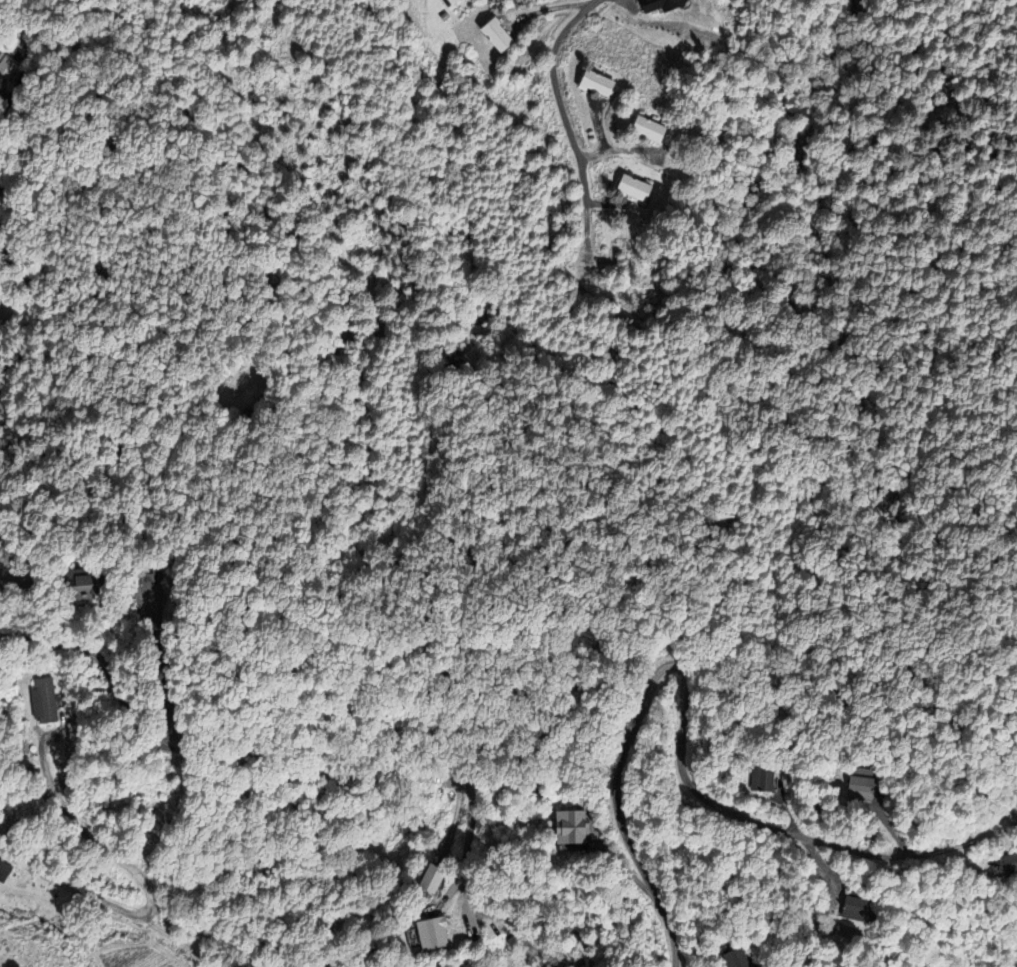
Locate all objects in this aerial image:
building: (448, 3)
building: (497, 35)
building: (592, 82)
road: (12, 98)
road: (559, 99)
building: (641, 128)
building: (630, 188)
road: (585, 235)
road: (30, 308)
building: (140, 574)
building: (71, 585)
road: (688, 687)
building: (40, 701)
road: (143, 732)
building: (757, 779)
building: (852, 784)
building: (568, 828)
road: (82, 830)
road: (894, 830)
road: (977, 837)
road: (805, 845)
road: (467, 847)
road: (955, 861)
building: (1001, 865)
road: (623, 869)
building: (431, 879)
road: (63, 883)
building: (842, 909)
building: (428, 934)
building: (732, 958)

